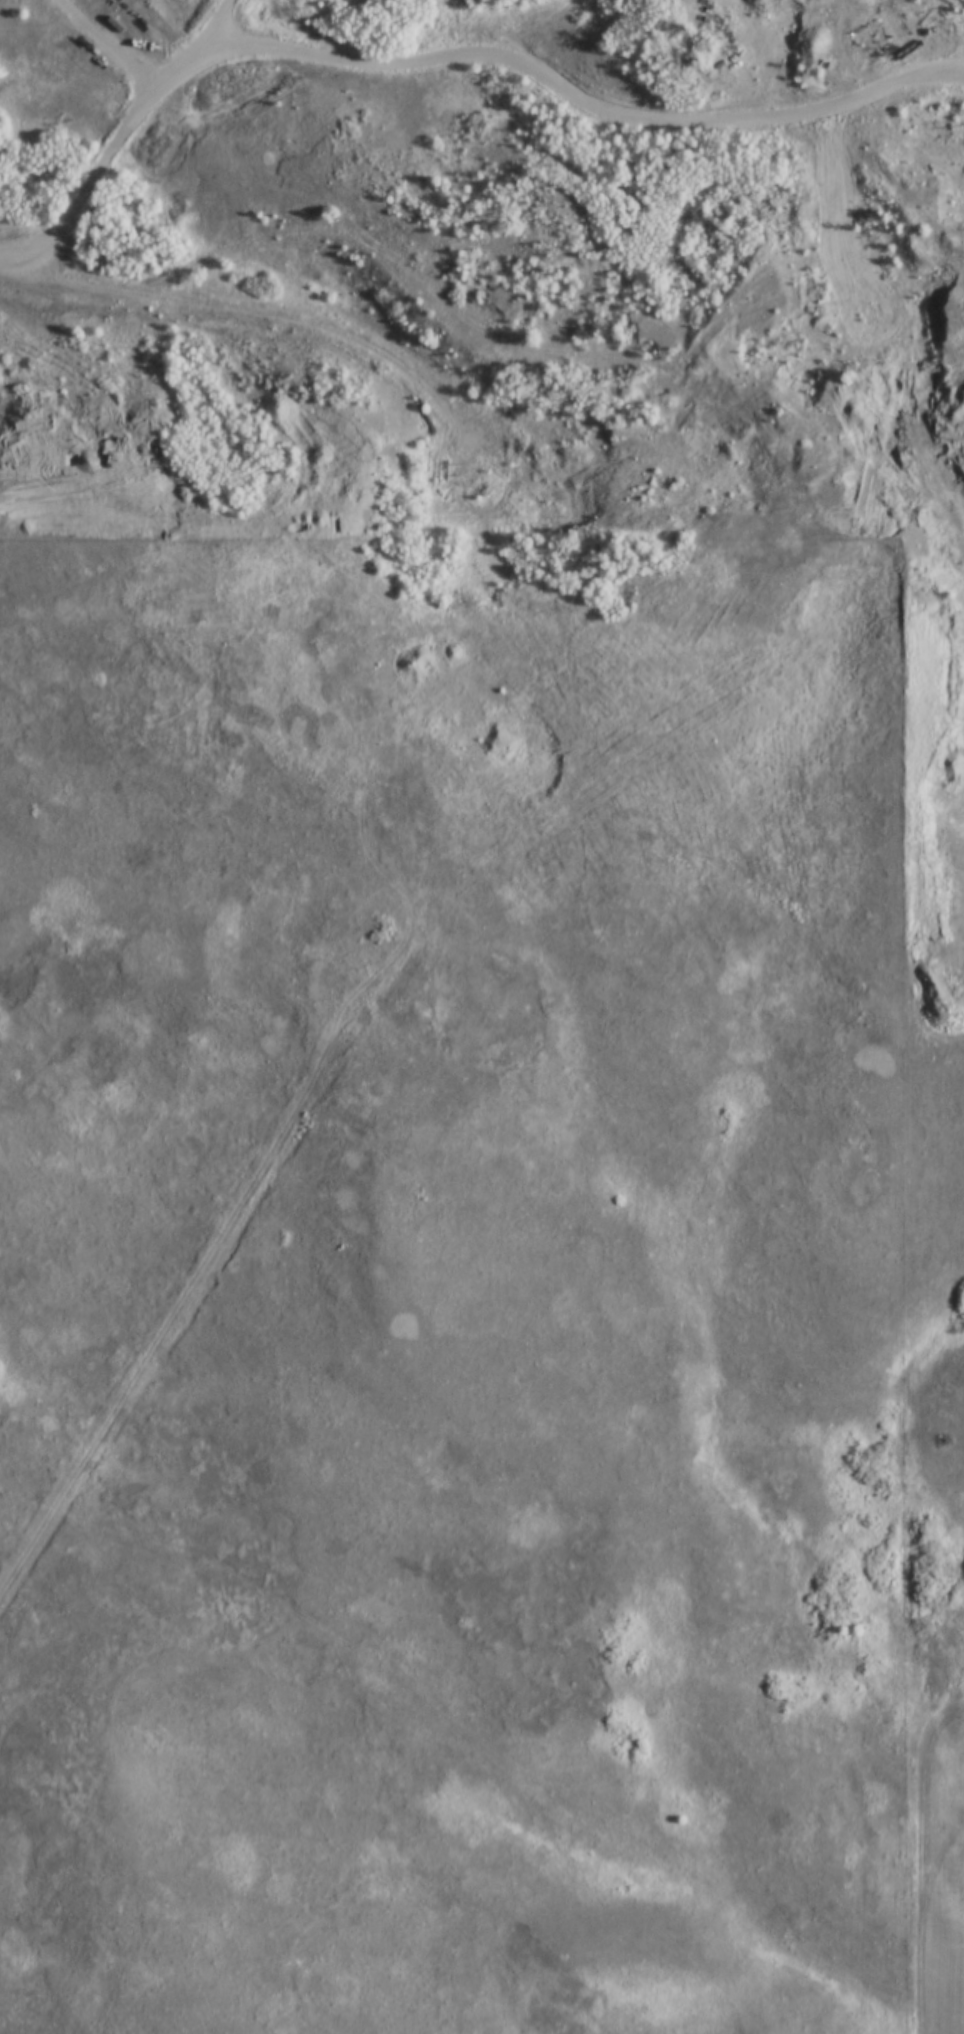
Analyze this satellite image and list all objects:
road: (382, 67)
road: (897, 79)
road: (902, 173)
road: (318, 329)
road: (473, 331)
quarry: (888, 491)

